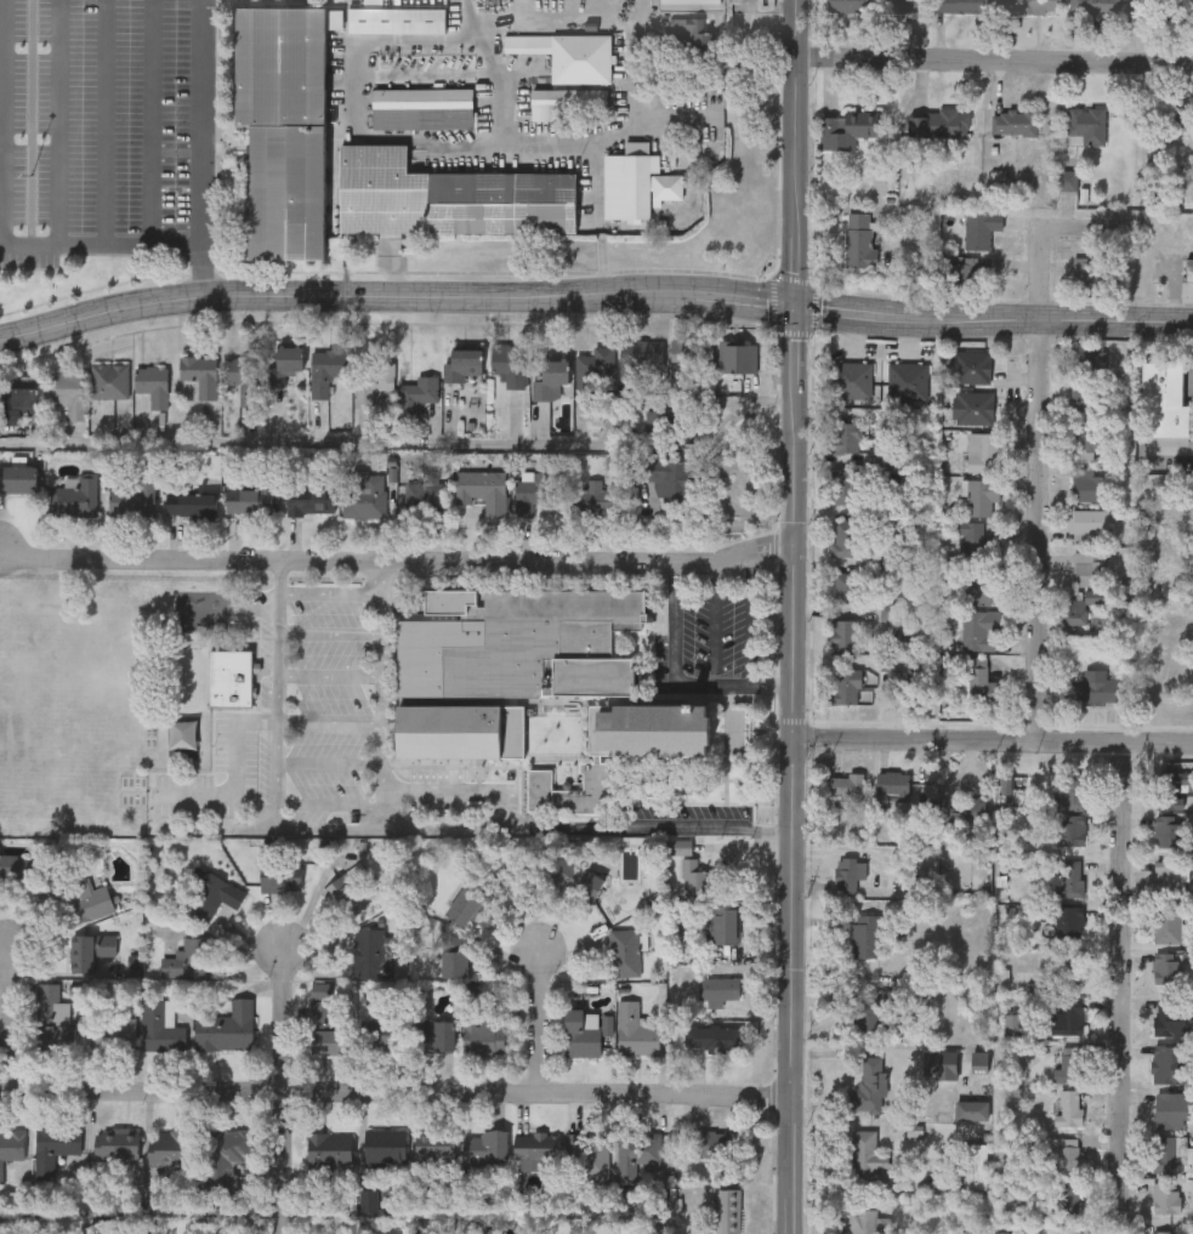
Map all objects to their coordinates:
building: (1192, 0)
building: (1192, 2)
building: (850, 5)
building: (945, 5)
building: (1030, 6)
building: (1096, 6)
building: (397, 19)
building: (688, 40)
building: (569, 55)
road: (992, 63)
building: (420, 66)
road: (493, 68)
road: (353, 99)
building: (566, 102)
building: (422, 108)
building: (1182, 114)
road: (651, 120)
building: (1013, 121)
road: (5, 123)
road: (55, 123)
road: (104, 123)
road: (154, 123)
building: (941, 123)
building: (283, 126)
building: (1087, 126)
building: (848, 129)
road: (550, 144)
road: (206, 147)
building: (1068, 180)
building: (636, 184)
building: (448, 197)
road: (595, 197)
building: (979, 229)
building: (859, 239)
road: (1043, 241)
road: (103, 245)
building: (1188, 269)
building: (1085, 277)
road: (699, 294)
traffic signals: (791, 308)
road: (101, 312)
building: (689, 357)
building: (738, 358)
building: (641, 359)
building: (1089, 359)
building: (509, 364)
building: (596, 364)
building: (461, 365)
building: (971, 366)
building: (285, 369)
building: (326, 370)
building: (199, 374)
building: (549, 375)
building: (244, 377)
building: (852, 379)
building: (907, 380)
building: (109, 381)
building: (373, 382)
building: (153, 383)
building: (66, 391)
building: (420, 391)
building: (1087, 402)
building: (1164, 402)
building: (19, 404)
building: (973, 406)
building: (845, 437)
building: (1089, 440)
road: (295, 443)
building: (983, 451)
building: (17, 479)
building: (667, 479)
building: (1086, 484)
road: (723, 485)
building: (845, 487)
building: (481, 490)
building: (532, 493)
building: (364, 495)
building: (982, 495)
building: (74, 497)
building: (133, 499)
building: (427, 499)
building: (249, 502)
building: (309, 502)
building: (591, 502)
building: (189, 505)
building: (1087, 523)
road: (1045, 528)
building: (847, 538)
building: (977, 542)
road: (396, 567)
building: (1089, 568)
building: (978, 585)
building: (846, 588)
road: (329, 590)
building: (1076, 610)
road: (790, 616)
road: (710, 624)
building: (981, 630)
road: (329, 632)
building: (845, 637)
building: (1172, 647)
road: (329, 673)
building: (231, 682)
building: (530, 683)
building: (982, 683)
road: (720, 687)
building: (846, 687)
building: (1093, 688)
road: (329, 720)
road: (992, 737)
road: (275, 752)
building: (892, 783)
building: (846, 784)
building: (1072, 790)
building: (1171, 790)
road: (456, 828)
building: (1070, 830)
building: (1168, 830)
building: (15, 866)
building: (848, 871)
building: (1168, 875)
building: (1069, 877)
building: (574, 878)
building: (694, 878)
building: (278, 883)
building: (200, 895)
building: (75, 900)
building: (468, 900)
building: (1064, 920)
building: (722, 925)
building: (1168, 925)
building: (865, 934)
building: (87, 950)
building: (370, 952)
building: (621, 952)
building: (189, 959)
building: (451, 963)
building: (1068, 966)
building: (1166, 967)
road: (1129, 986)
building: (716, 989)
building: (322, 1017)
building: (1066, 1017)
building: (1169, 1017)
road: (7, 1018)
building: (51, 1018)
road: (279, 1019)
road: (534, 1019)
building: (155, 1024)
building: (225, 1027)
building: (634, 1030)
building: (109, 1033)
building: (481, 1034)
building: (581, 1034)
building: (434, 1036)
building: (714, 1036)
building: (385, 1039)
building: (1171, 1063)
building: (1069, 1064)
building: (869, 1085)
road: (394, 1091)
building: (1069, 1107)
building: (1171, 1109)
building: (114, 1143)
building: (716, 1143)
building: (10, 1145)
building: (166, 1147)
building: (433, 1147)
building: (52, 1148)
building: (384, 1148)
building: (484, 1148)
building: (535, 1149)
building: (328, 1150)
building: (635, 1153)
building: (1168, 1154)
building: (223, 1155)
building: (1068, 1155)
building: (587, 1156)
building: (867, 1159)
road: (280, 1162)
building: (975, 1166)
building: (1165, 1198)
building: (1067, 1200)
building: (727, 1211)
building: (869, 1222)
building: (1068, 1230)
building: (1165, 1232)

